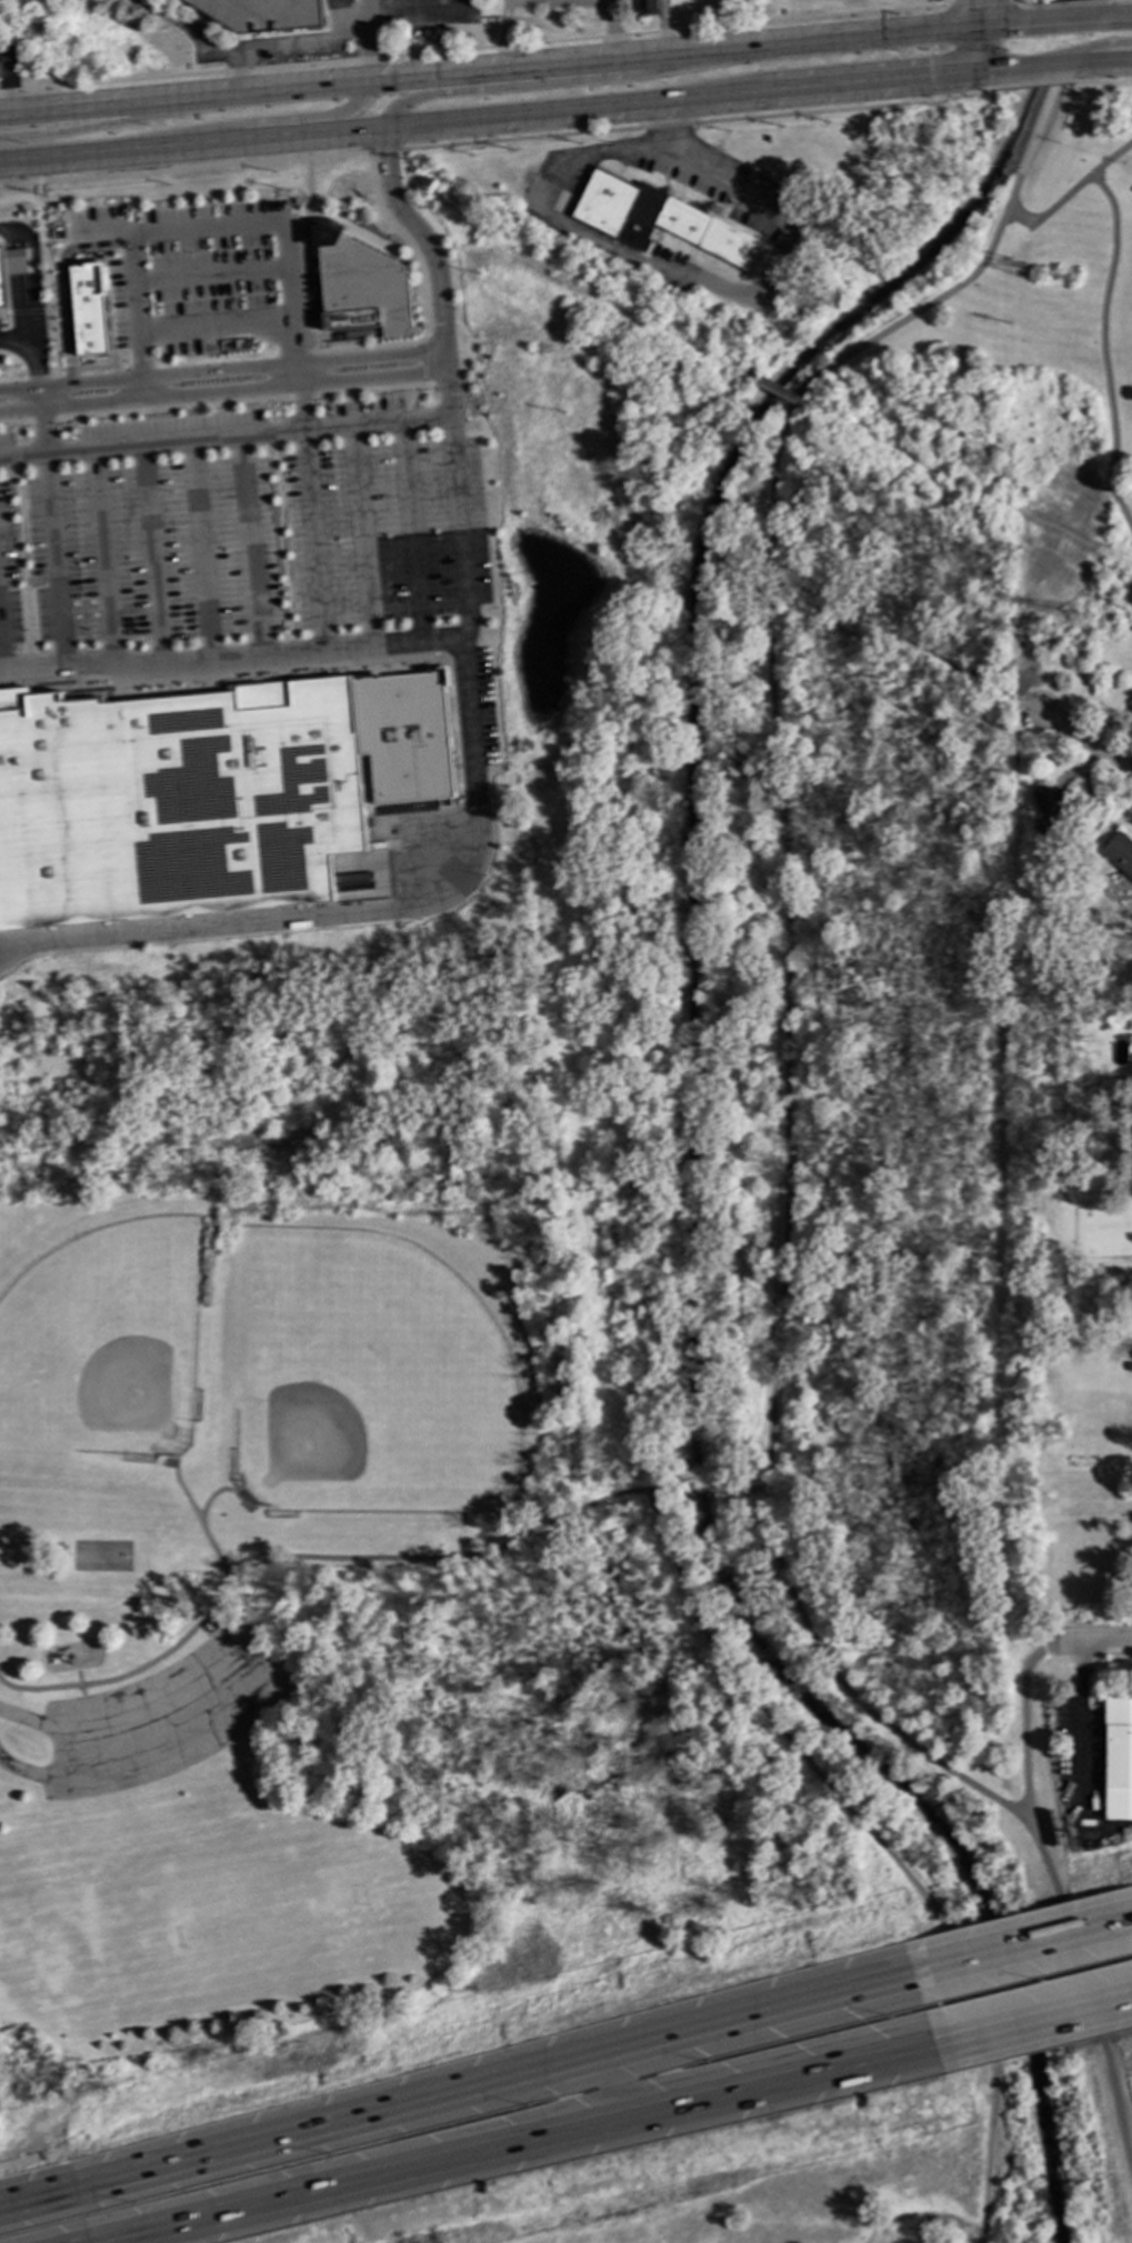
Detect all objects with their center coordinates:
road: (970, 2)
road: (1069, 2)
building: (334, 4)
parking lot: (558, 6)
road: (1021, 6)
park: (1120, 6)
building: (647, 7)
building: (263, 13)
road: (1115, 17)
park: (554, 18)
road: (1062, 20)
road: (780, 21)
traffic signals: (1022, 23)
road: (188, 29)
road: (611, 29)
road: (505, 33)
road: (974, 37)
road: (301, 39)
road: (364, 39)
road: (2, 48)
road: (933, 52)
road: (1103, 61)
road: (305, 62)
road: (512, 67)
road: (240, 68)
road: (1039, 68)
traffic signals: (929, 79)
road: (7, 81)
road: (563, 81)
road: (1101, 82)
road: (1035, 84)
road: (1044, 102)
road: (561, 110)
road: (114, 121)
road: (250, 122)
road: (500, 140)
road: (60, 154)
road: (1111, 159)
road: (308, 204)
building: (614, 206)
road: (1048, 212)
road: (103, 226)
road: (204, 226)
building: (708, 233)
road: (61, 241)
road: (34, 256)
building: (11, 269)
road: (48, 276)
power tower: (1043, 279)
road: (317, 280)
power tower: (1072, 280)
road: (694, 282)
road: (61, 284)
park: (1076, 284)
building: (362, 286)
road: (423, 293)
road: (592, 296)
building: (90, 309)
road: (27, 311)
road: (4, 312)
road: (47, 321)
road: (214, 324)
road: (19, 339)
road: (294, 340)
road: (313, 340)
road: (38, 348)
road: (1103, 351)
road: (139, 356)
road: (428, 359)
road: (84, 367)
road: (222, 371)
road: (142, 389)
road: (59, 392)
road: (223, 392)
road: (214, 403)
road: (270, 410)
road: (17, 433)
road: (272, 433)
road: (16, 455)
road: (966, 487)
road: (312, 504)
road: (52, 529)
road: (279, 542)
road: (20, 560)
park: (1046, 615)
power tower: (1070, 615)
power tower: (1040, 635)
road: (908, 643)
road: (291, 653)
road: (233, 657)
road: (31, 669)
road: (218, 674)
building: (1131, 711)
road: (468, 734)
building: (408, 739)
road: (1084, 741)
building: (177, 801)
building: (1050, 808)
building: (1119, 852)
road: (785, 1017)
park: (567, 1292)
park: (106, 1343)
park: (370, 1381)
building: (1079, 1459)
road: (700, 1489)
road: (652, 1490)
road: (751, 1490)
park: (106, 1556)
road: (422, 1559)
road: (228, 1626)
road: (1083, 1640)
road: (267, 1675)
road: (117, 1679)
parking lot: (166, 1715)
road: (1078, 1715)
road: (1023, 1730)
building: (1119, 1755)
park: (1028, 1773)
road: (879, 1846)
park: (237, 1921)
road: (1022, 1943)
road: (1088, 1991)
road: (1034, 2023)
road: (619, 2085)
road: (457, 2090)
road: (522, 2143)
park: (1066, 2169)
park: (831, 2201)

